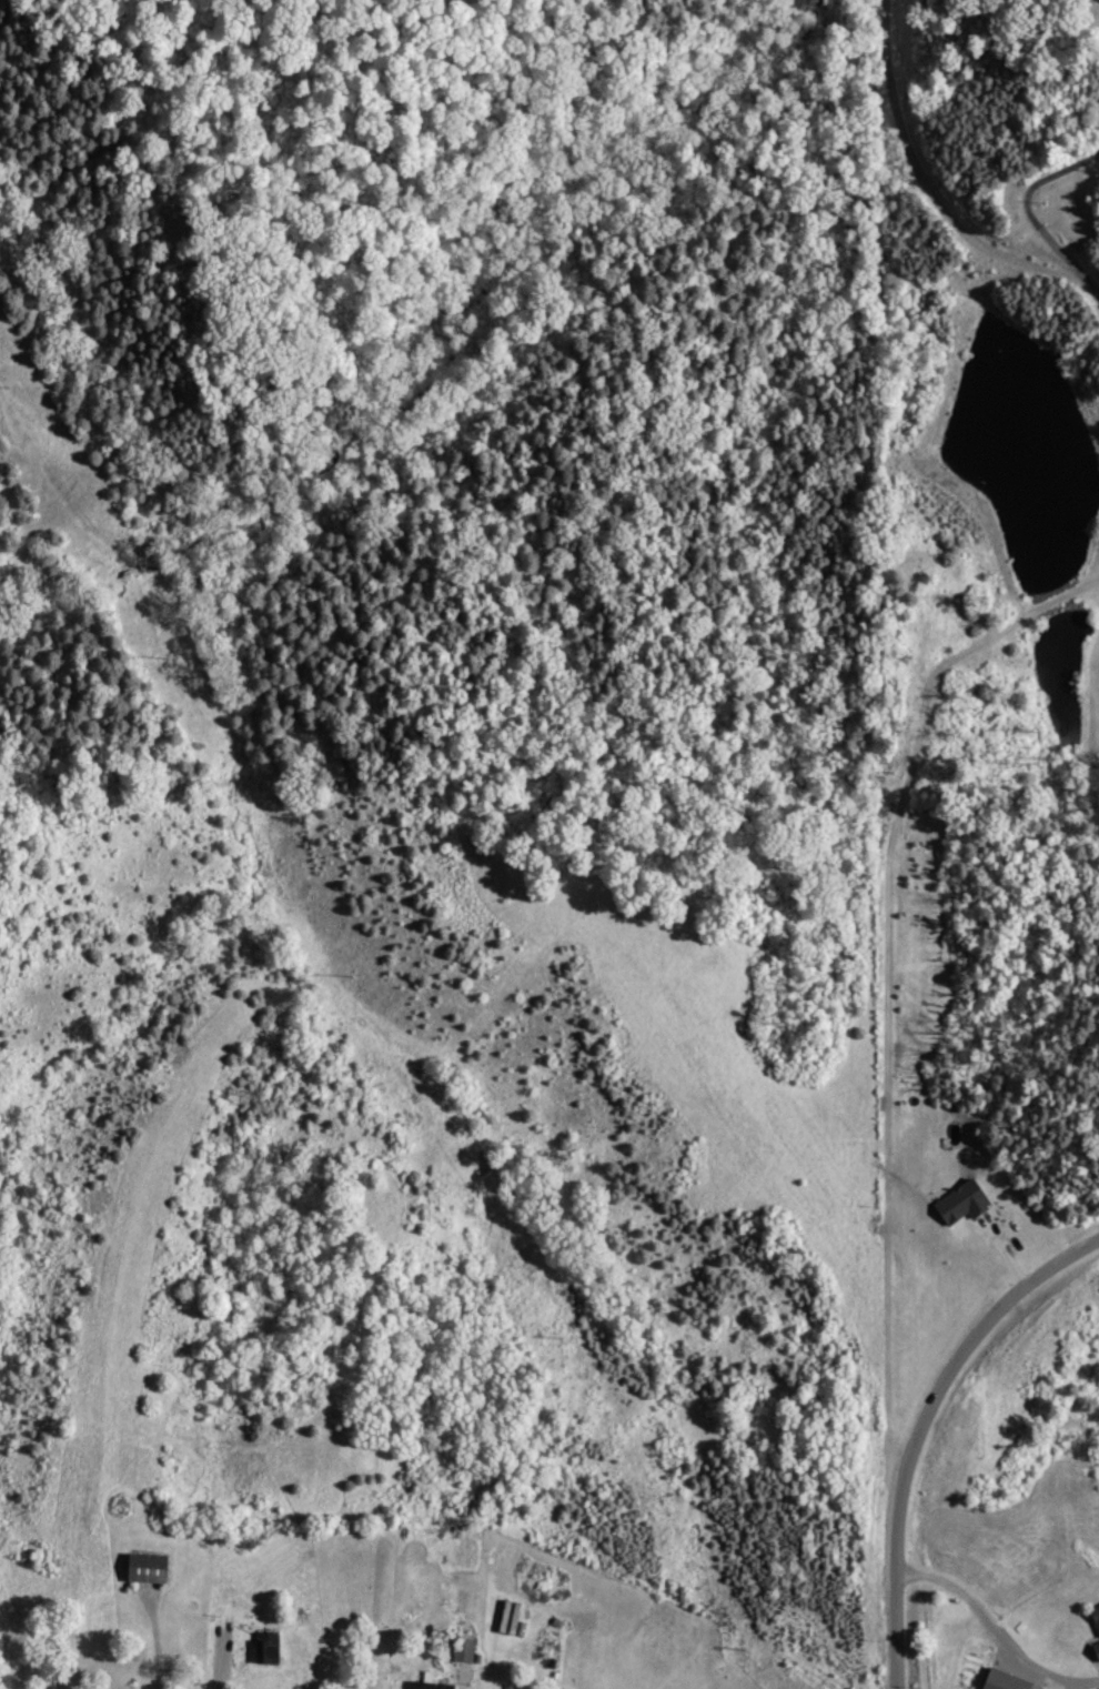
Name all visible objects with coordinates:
road: (1045, 175)
road: (925, 184)
road: (1070, 260)
building: (968, 1202)
road: (915, 1422)
building: (154, 1566)
building: (1098, 1609)
road: (994, 1631)
road: (152, 1641)
building: (1098, 1643)
building: (274, 1649)
building: (467, 1649)
road: (220, 1651)
building: (430, 1680)
building: (1012, 1680)

